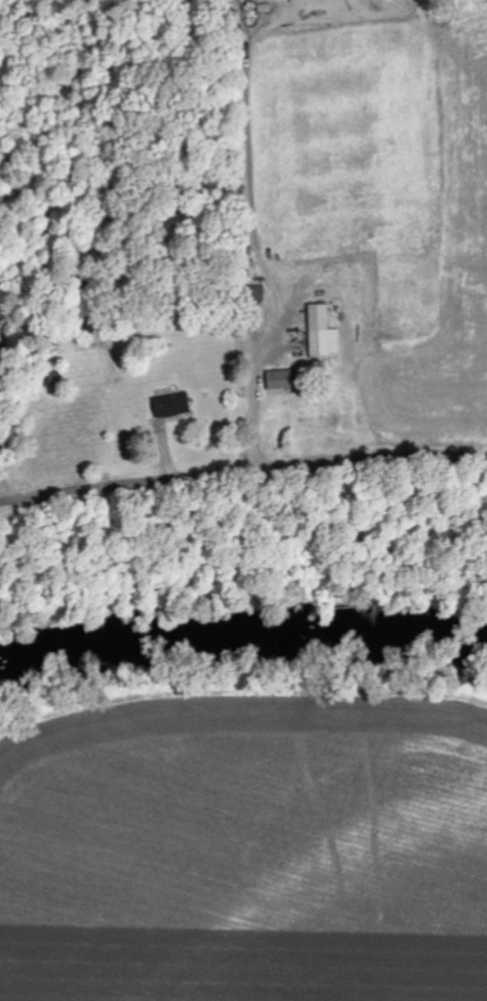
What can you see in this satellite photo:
building: (324, 331)
building: (289, 378)
building: (175, 404)
road: (243, 468)
river: (243, 627)

